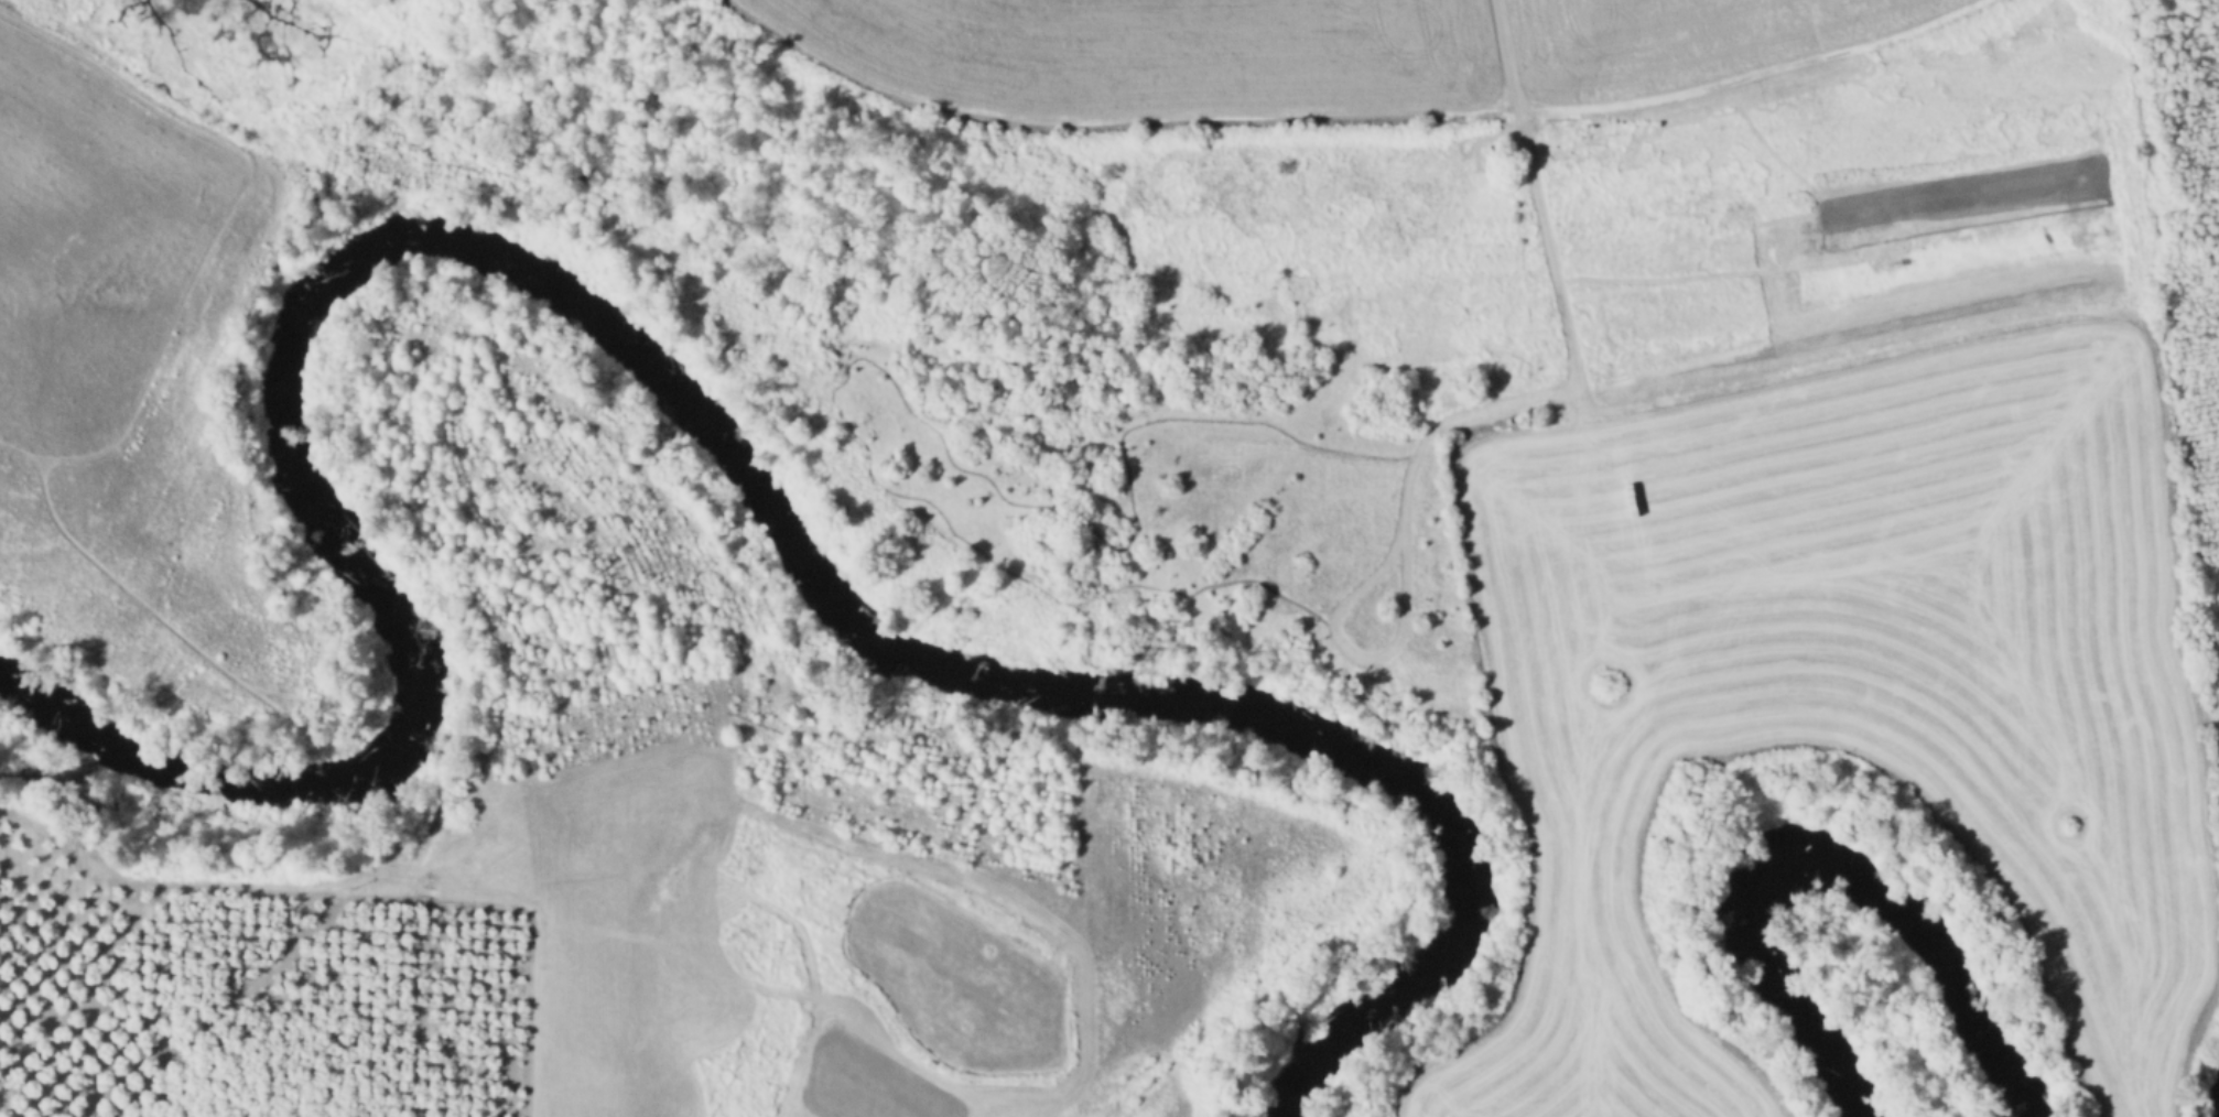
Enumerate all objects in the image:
crop: (1673, 42)
crop: (1151, 55)
road: (1545, 217)
road: (218, 224)
river: (650, 381)
road: (138, 597)
crop: (1849, 686)
river: (1812, 863)

